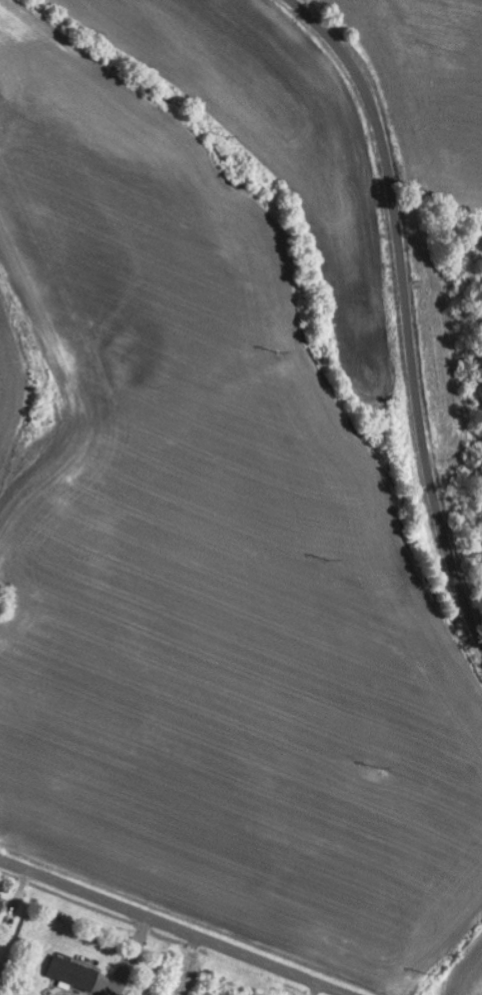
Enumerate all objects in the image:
road: (406, 309)
building: (3, 905)
road: (171, 928)
building: (76, 974)

